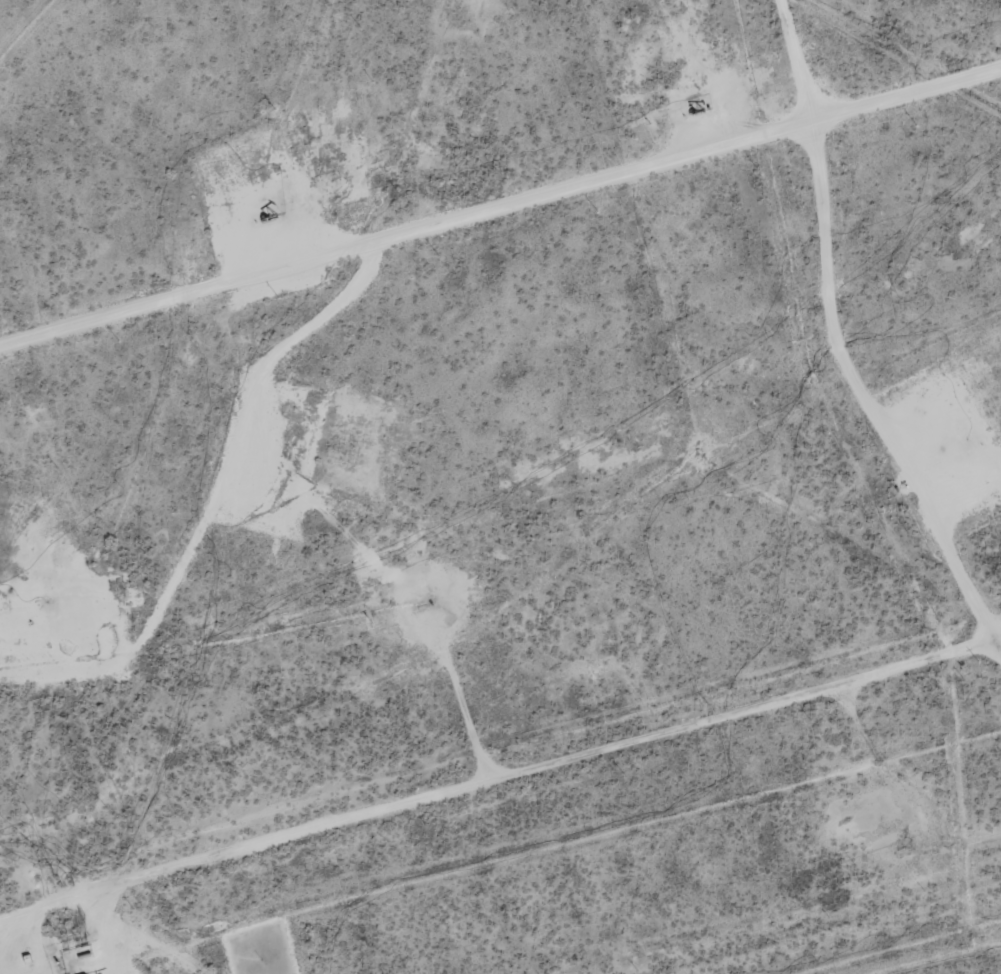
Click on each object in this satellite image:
road: (501, 245)
road: (798, 403)
road: (482, 830)

